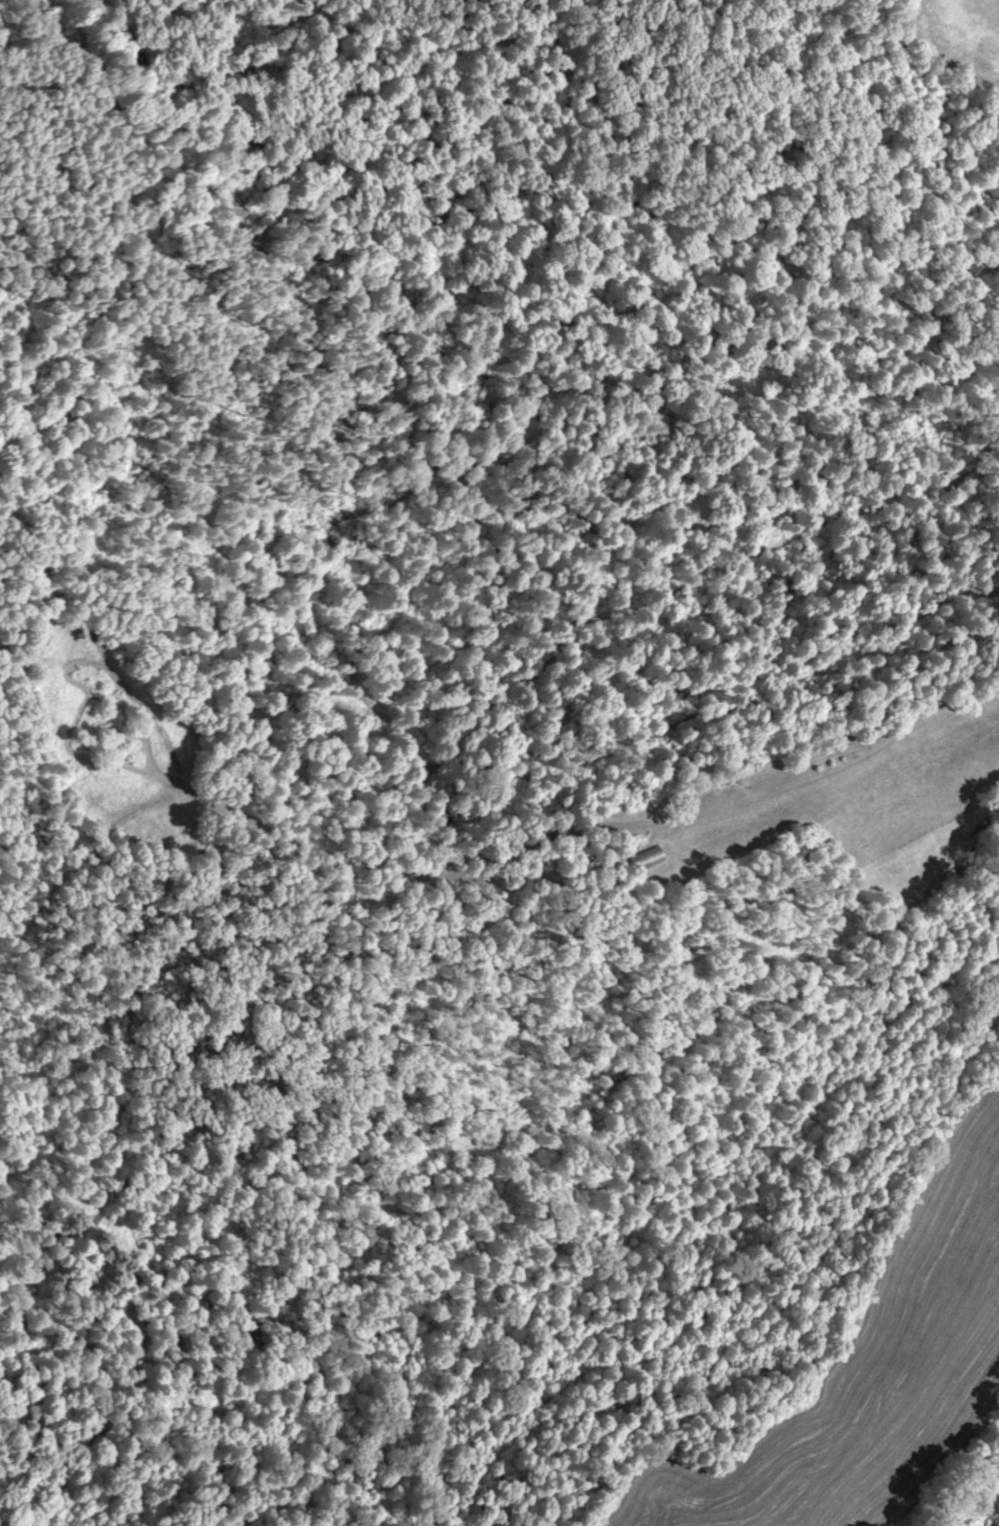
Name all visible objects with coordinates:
building: (990, 1524)

